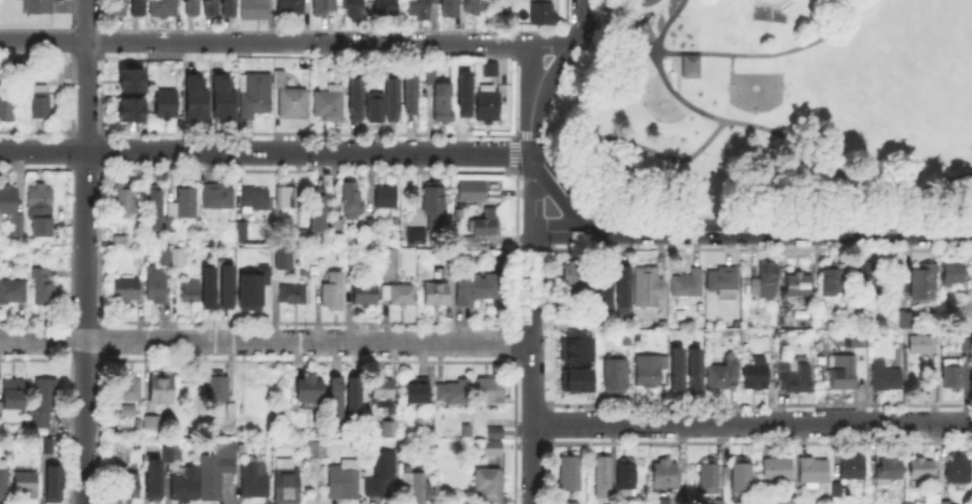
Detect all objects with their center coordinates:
park: (767, 2)
building: (473, 4)
building: (116, 6)
building: (134, 6)
building: (189, 6)
building: (323, 6)
building: (41, 7)
building: (207, 7)
building: (227, 7)
building: (293, 7)
building: (419, 7)
building: (447, 7)
building: (355, 8)
building: (388, 8)
building: (164, 9)
building: (506, 10)
building: (257, 11)
building: (539, 12)
road: (581, 22)
road: (610, 29)
road: (264, 40)
road: (551, 42)
road: (767, 54)
road: (674, 61)
road: (731, 62)
building: (689, 65)
building: (23, 66)
building: (493, 70)
road: (671, 72)
building: (428, 73)
road: (551, 74)
building: (128, 79)
building: (281, 81)
park: (755, 90)
building: (410, 91)
park: (944, 91)
building: (462, 93)
building: (220, 94)
building: (392, 96)
building: (191, 97)
building: (256, 97)
building: (356, 97)
fountain: (667, 97)
building: (440, 102)
building: (40, 103)
building: (294, 104)
building: (374, 104)
building: (168, 105)
building: (331, 105)
building: (490, 106)
park: (775, 106)
building: (7, 107)
building: (125, 107)
road: (770, 129)
road: (529, 136)
road: (636, 144)
road: (265, 150)
road: (562, 189)
building: (474, 194)
building: (219, 197)
building: (288, 197)
building: (388, 197)
building: (256, 198)
building: (124, 202)
building: (354, 203)
building: (40, 208)
building: (153, 208)
building: (183, 208)
building: (436, 209)
building: (321, 212)
building: (13, 213)
building: (489, 224)
building: (339, 227)
road: (564, 229)
road: (782, 229)
building: (243, 230)
building: (300, 236)
building: (419, 237)
building: (121, 239)
road: (85, 251)
building: (165, 258)
building: (180, 258)
building: (281, 258)
building: (396, 262)
building: (352, 269)
building: (451, 271)
building: (950, 276)
building: (869, 277)
building: (572, 279)
building: (722, 281)
building: (830, 281)
building: (763, 282)
building: (686, 283)
building: (601, 284)
building: (620, 284)
building: (921, 284)
building: (224, 285)
building: (250, 285)
building: (795, 285)
building: (43, 286)
building: (157, 286)
building: (206, 286)
building: (478, 288)
building: (187, 289)
building: (645, 289)
building: (126, 291)
building: (13, 294)
building: (335, 294)
building: (295, 296)
building: (401, 296)
building: (367, 297)
building: (439, 298)
building: (698, 308)
building: (820, 311)
building: (908, 322)
road: (266, 340)
building: (855, 340)
building: (923, 343)
building: (965, 344)
building: (574, 348)
road: (532, 366)
building: (675, 367)
building: (693, 367)
building: (647, 371)
building: (758, 375)
building: (612, 376)
building: (844, 376)
building: (951, 376)
building: (720, 377)
building: (883, 377)
building: (574, 378)
building: (794, 378)
building: (217, 390)
building: (165, 391)
building: (312, 391)
building: (490, 391)
building: (419, 393)
building: (127, 394)
building: (384, 395)
building: (453, 395)
building: (16, 396)
building: (337, 396)
building: (353, 397)
building: (46, 404)
building: (232, 411)
building: (1, 413)
road: (752, 422)
building: (156, 426)
building: (392, 432)
building: (496, 433)
building: (45, 450)
building: (319, 450)
building: (495, 450)
building: (171, 453)
building: (888, 469)
building: (850, 470)
building: (921, 470)
building: (957, 471)
building: (378, 472)
building: (811, 473)
building: (218, 474)
building: (776, 474)
building: (568, 476)
building: (662, 477)
building: (150, 478)
building: (255, 478)
building: (625, 478)
building: (739, 478)
building: (600, 479)
building: (708, 479)
building: (4, 481)
building: (51, 481)
building: (288, 483)
building: (345, 483)
building: (417, 483)
building: (24, 484)
building: (490, 486)
building: (187, 487)
building: (128, 488)
building: (837, 490)
building: (931, 499)
building: (778, 500)
building: (660, 502)
building: (717, 502)
building: (569, 503)
building: (944, 503)

